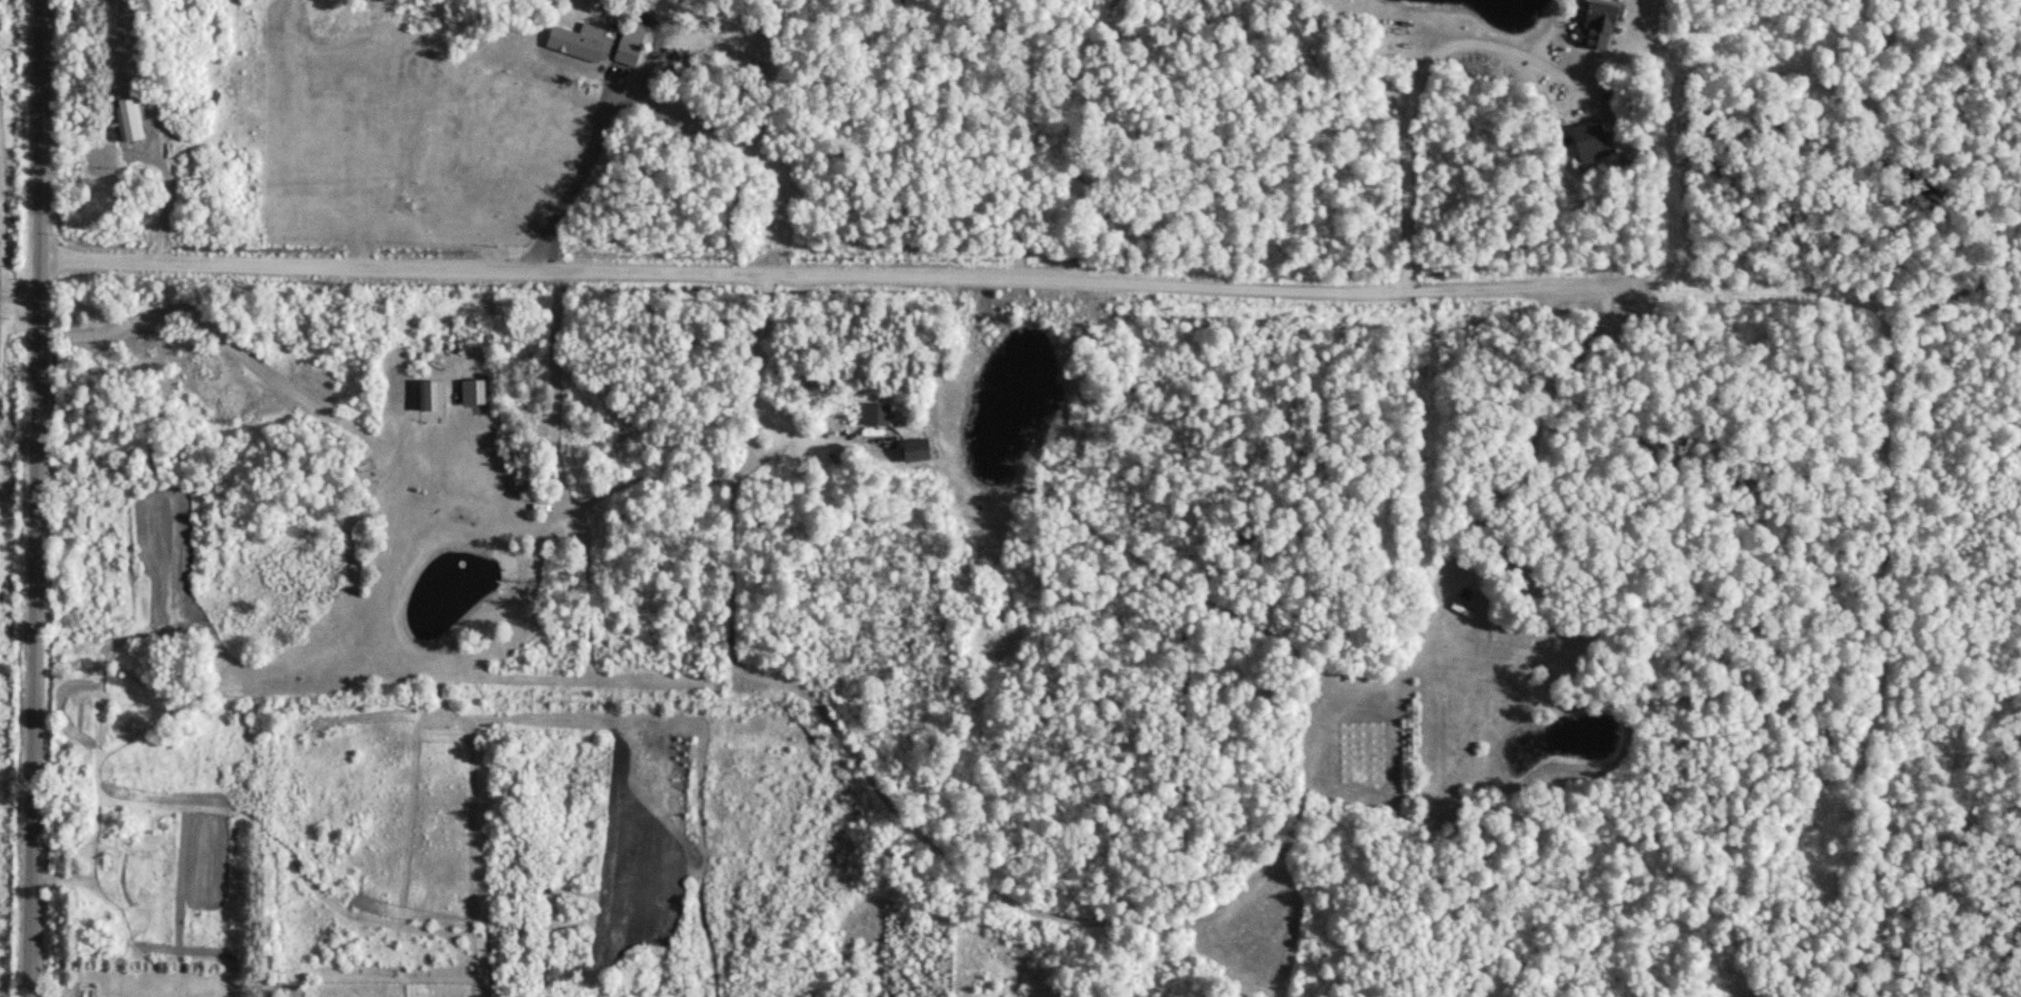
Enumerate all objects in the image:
building: (1590, 26)
building: (581, 45)
road: (574, 178)
road: (836, 276)
road: (40, 335)
building: (922, 452)
building: (288, 645)
road: (36, 833)

